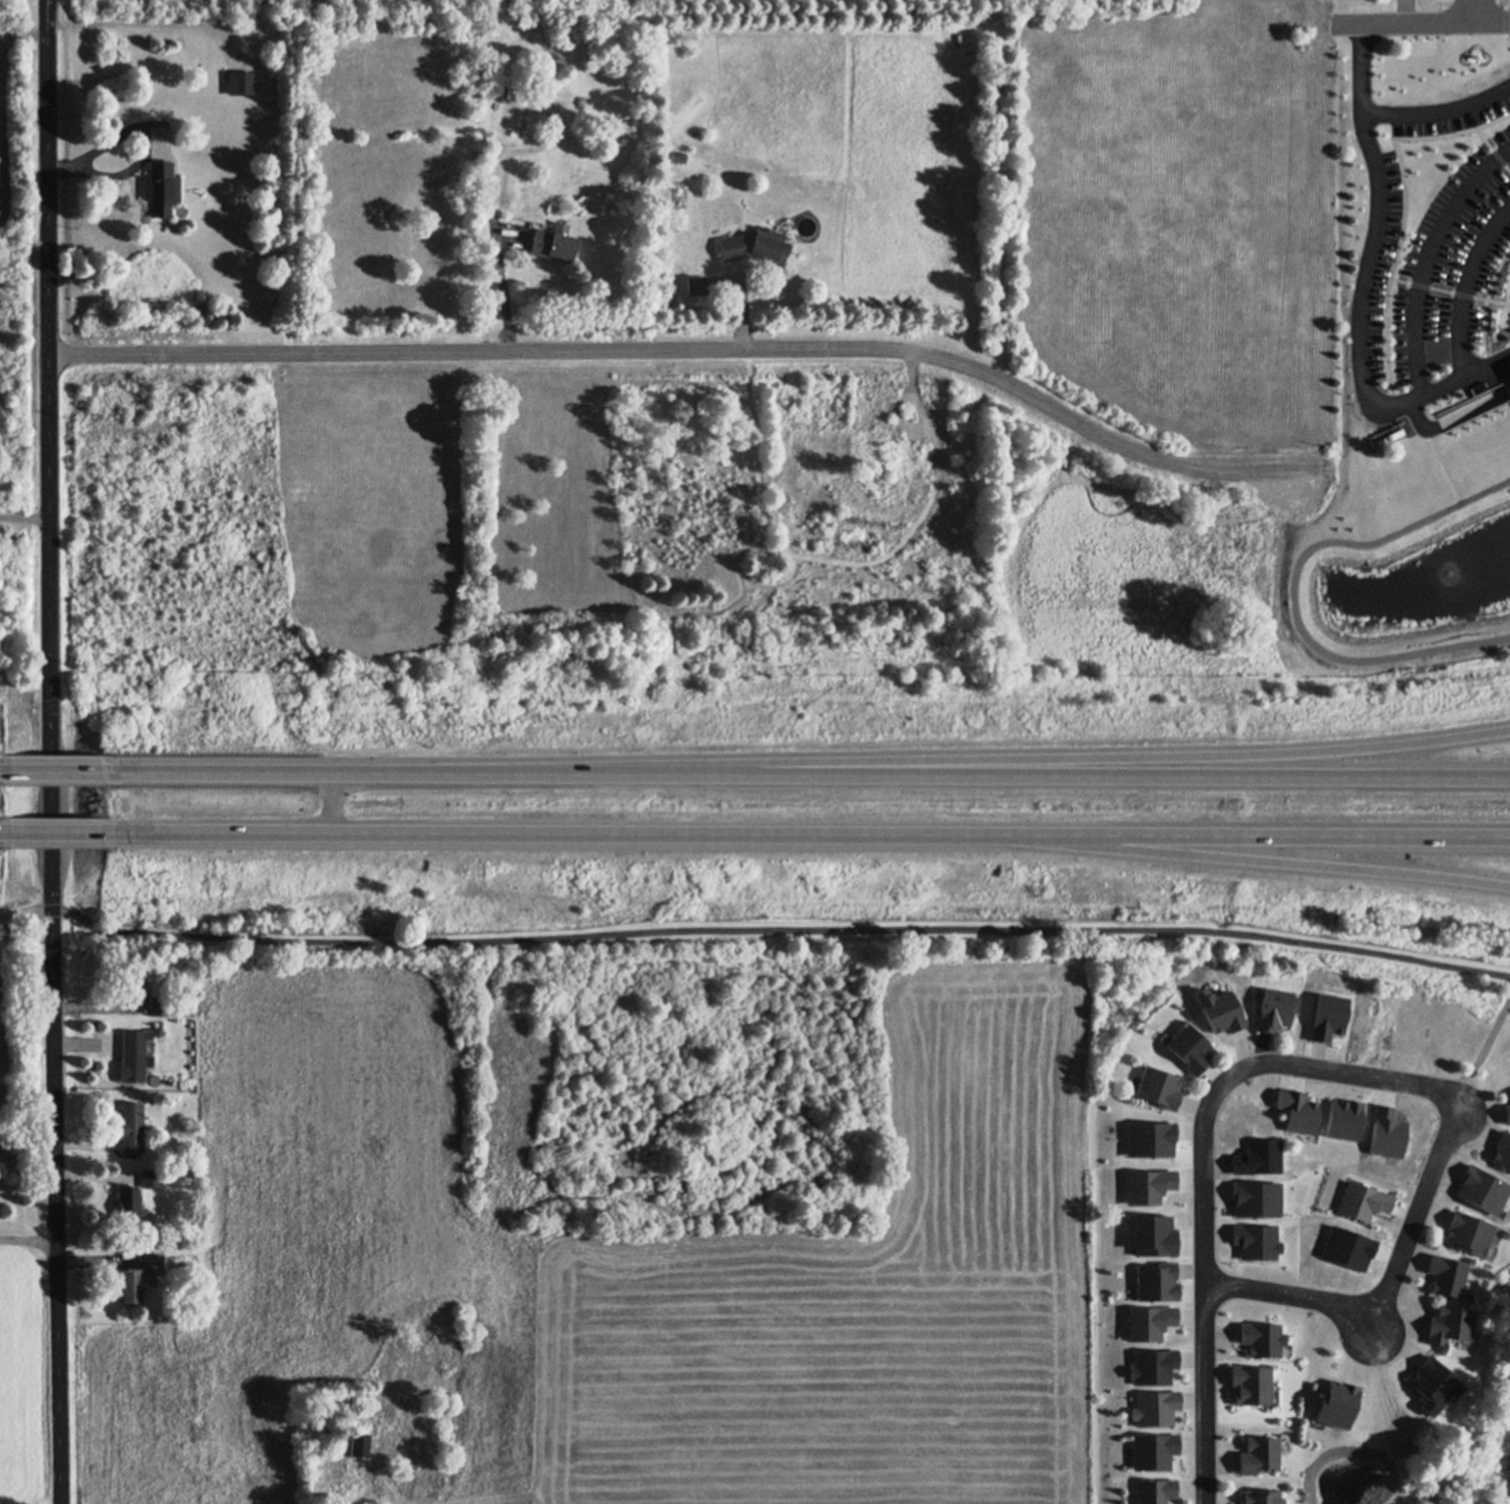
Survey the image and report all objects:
road: (1475, 10)
road: (1419, 21)
road: (1506, 21)
road: (1361, 68)
building: (241, 84)
crop: (20, 107)
building: (541, 107)
building: (486, 142)
road: (1493, 148)
building: (679, 156)
building: (162, 189)
crop: (1137, 208)
road: (1404, 214)
building: (806, 226)
road: (510, 233)
building: (555, 242)
building: (756, 245)
road: (1427, 256)
parking lot: (1431, 257)
road: (1369, 258)
building: (1414, 266)
building: (698, 284)
road: (1465, 284)
road: (1449, 291)
road: (1487, 302)
parking lot: (1508, 322)
road: (687, 352)
road: (1503, 367)
road: (1507, 367)
road: (1453, 416)
building: (899, 453)
road: (1445, 465)
road: (25, 519)
road: (1296, 587)
fountain: (1397, 597)
road: (52, 752)
road: (1085, 756)
road: (4, 769)
road: (54, 770)
road: (315, 773)
road: (596, 773)
road: (1085, 774)
road: (328, 804)
road: (4, 829)
road: (54, 830)
road: (556, 834)
road: (1262, 835)
road: (1261, 861)
road: (26, 910)
road: (780, 928)
building: (128, 983)
building: (1259, 994)
building: (160, 1006)
building: (1273, 1010)
building: (1165, 1037)
building: (1188, 1048)
road: (1484, 1051)
building: (133, 1056)
road: (1317, 1070)
building: (1156, 1088)
building: (1297, 1111)
building: (1507, 1115)
building: (1343, 1119)
building: (146, 1120)
building: (132, 1128)
building: (1503, 1150)
building: (151, 1178)
building: (1149, 1186)
building: (1363, 1201)
building: (129, 1203)
road: (32, 1229)
crop: (625, 1233)
building: (1468, 1233)
building: (1153, 1235)
building: (1487, 1252)
building: (154, 1263)
building: (1450, 1278)
building: (1155, 1282)
building: (128, 1289)
building: (1470, 1295)
road: (1367, 1320)
building: (1150, 1322)
building: (1450, 1325)
building: (1261, 1335)
building: (1470, 1341)
building: (1146, 1359)
crop: (25, 1381)
building: (1249, 1386)
building: (1434, 1386)
road: (1206, 1393)
building: (1271, 1394)
building: (1153, 1401)
building: (1337, 1406)
building: (358, 1445)
building: (432, 1446)
road: (378, 1449)
building: (1153, 1452)
road: (379, 1457)
building: (1261, 1457)
road: (410, 1471)
road: (393, 1483)
building: (435, 1484)
building: (353, 1485)
building: (1154, 1491)
building: (1261, 1498)

